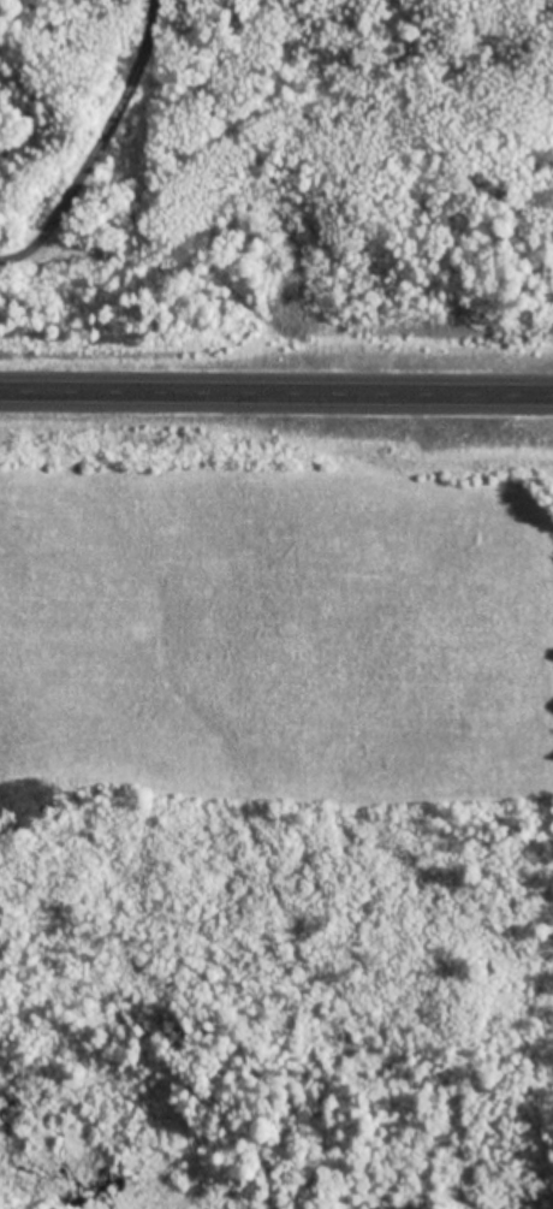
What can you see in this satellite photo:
road: (97, 143)
road: (276, 391)

